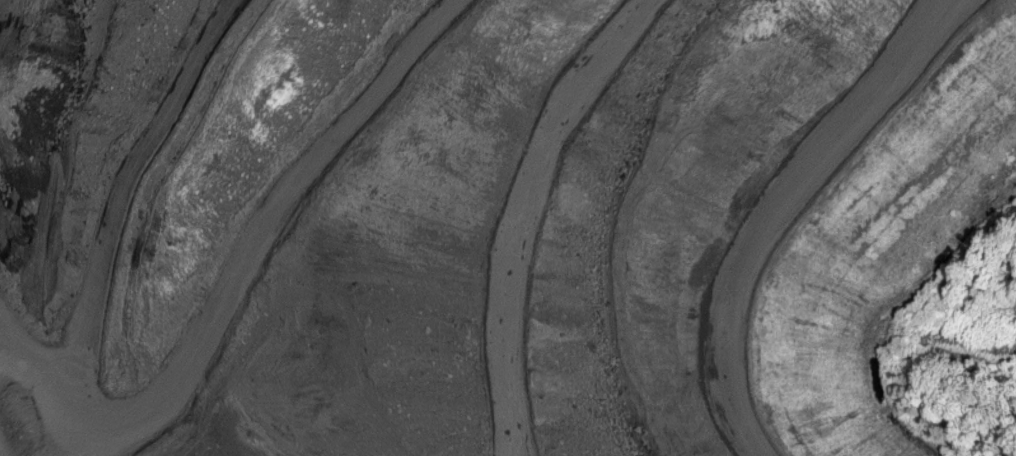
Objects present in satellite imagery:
road: (779, 211)
quarry: (479, 219)

